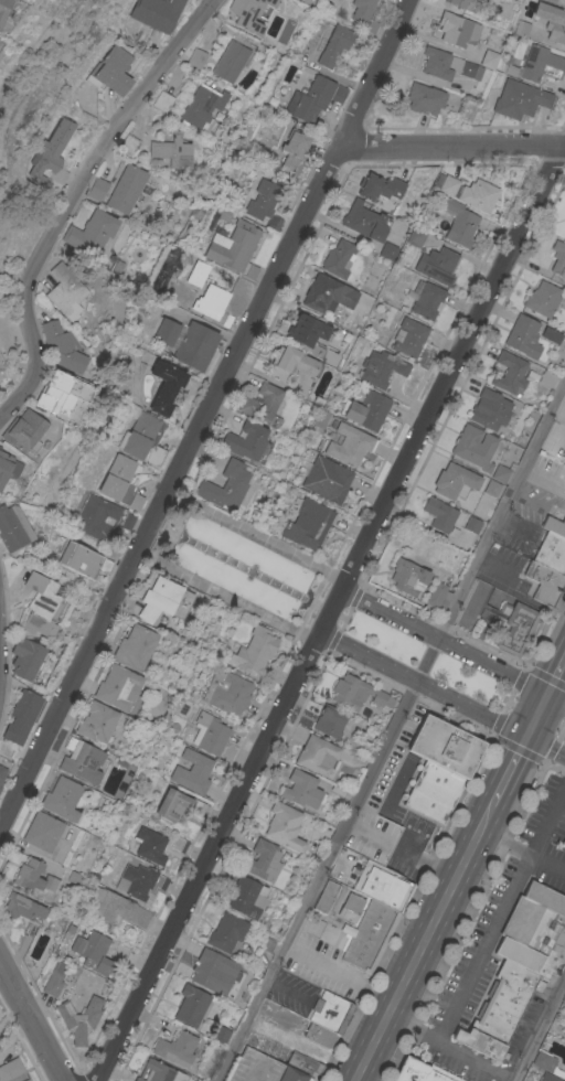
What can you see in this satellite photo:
building: (551, 1)
building: (459, 2)
building: (3, 8)
building: (361, 10)
building: (156, 13)
building: (249, 13)
building: (552, 21)
building: (522, 29)
building: (458, 31)
building: (334, 45)
building: (195, 57)
building: (488, 58)
building: (230, 61)
building: (536, 64)
building: (447, 65)
building: (111, 71)
building: (313, 98)
building: (424, 98)
building: (520, 99)
building: (162, 100)
building: (201, 107)
building: (128, 143)
road: (451, 148)
building: (171, 149)
building: (294, 149)
building: (51, 153)
building: (379, 186)
building: (97, 188)
building: (126, 188)
building: (469, 192)
road: (72, 197)
building: (265, 202)
building: (364, 221)
building: (459, 223)
building: (90, 233)
building: (415, 236)
building: (564, 236)
building: (234, 249)
building: (387, 250)
building: (557, 256)
building: (338, 258)
building: (437, 265)
building: (196, 272)
building: (65, 291)
building: (327, 293)
building: (542, 299)
building: (427, 301)
building: (213, 304)
building: (564, 304)
building: (303, 332)
building: (551, 334)
building: (523, 335)
building: (409, 336)
building: (186, 341)
building: (61, 347)
building: (291, 364)
building: (381, 367)
building: (510, 373)
building: (546, 378)
building: (164, 386)
building: (61, 394)
building: (259, 399)
building: (489, 408)
building: (366, 409)
road: (203, 416)
building: (22, 430)
building: (142, 438)
building: (248, 440)
building: (350, 445)
building: (475, 447)
building: (8, 467)
building: (502, 471)
building: (327, 479)
building: (450, 481)
building: (120, 483)
building: (225, 485)
building: (491, 488)
road: (173, 494)
road: (183, 495)
street lamp: (198, 514)
building: (438, 514)
building: (100, 517)
building: (307, 523)
road: (158, 524)
street lamp: (217, 524)
building: (472, 524)
building: (554, 525)
building: (12, 527)
road: (162, 529)
flagpole: (170, 531)
fountain: (178, 535)
road: (259, 537)
building: (552, 553)
building: (83, 559)
street lamp: (173, 561)
park: (238, 565)
road: (164, 566)
street lamp: (335, 567)
street lamp: (193, 572)
street lamp: (313, 574)
building: (407, 576)
road: (335, 578)
building: (543, 581)
building: (438, 596)
building: (158, 598)
road: (231, 599)
road: (311, 601)
building: (39, 603)
street lamp: (392, 603)
road: (327, 609)
road: (331, 612)
road: (343, 618)
street lamp: (290, 622)
road: (443, 623)
building: (514, 627)
road: (307, 634)
street lamp: (452, 634)
park: (377, 635)
street lamp: (299, 640)
road: (445, 642)
building: (134, 646)
building: (254, 651)
building: (24, 657)
street lamp: (513, 664)
street lamp: (360, 666)
road: (545, 674)
road: (556, 678)
park: (470, 682)
road: (424, 685)
building: (117, 687)
building: (227, 692)
building: (356, 693)
road: (406, 695)
street lamp: (422, 697)
road: (556, 698)
road: (507, 700)
road: (534, 714)
building: (22, 715)
road: (537, 715)
building: (329, 720)
building: (96, 721)
street lamp: (482, 728)
road: (388, 729)
park: (559, 730)
building: (210, 732)
road: (554, 742)
road: (546, 745)
road: (515, 750)
building: (318, 754)
building: (82, 761)
building: (439, 766)
road: (554, 769)
building: (1, 771)
building: (192, 771)
road: (504, 783)
building: (302, 789)
building: (62, 799)
building: (177, 804)
building: (285, 826)
building: (41, 831)
building: (563, 842)
building: (179, 844)
building: (150, 845)
road: (524, 850)
road: (472, 852)
building: (263, 860)
building: (33, 876)
building: (138, 880)
building: (383, 885)
building: (246, 897)
building: (326, 897)
building: (115, 907)
building: (351, 907)
building: (22, 908)
road: (500, 911)
building: (226, 932)
building: (369, 934)
building: (92, 950)
building: (120, 952)
building: (518, 966)
building: (213, 971)
road: (411, 976)
building: (53, 982)
building: (191, 1005)
building: (330, 1012)
building: (78, 1018)
road: (30, 1027)
road: (540, 1029)
building: (221, 1034)
building: (320, 1035)
building: (175, 1048)
road: (452, 1048)
building: (545, 1062)
building: (305, 1064)
building: (262, 1068)
building: (10, 1069)
building: (420, 1071)
building: (159, 1072)
building: (564, 1073)
building: (548, 1077)
building: (26, 1080)

